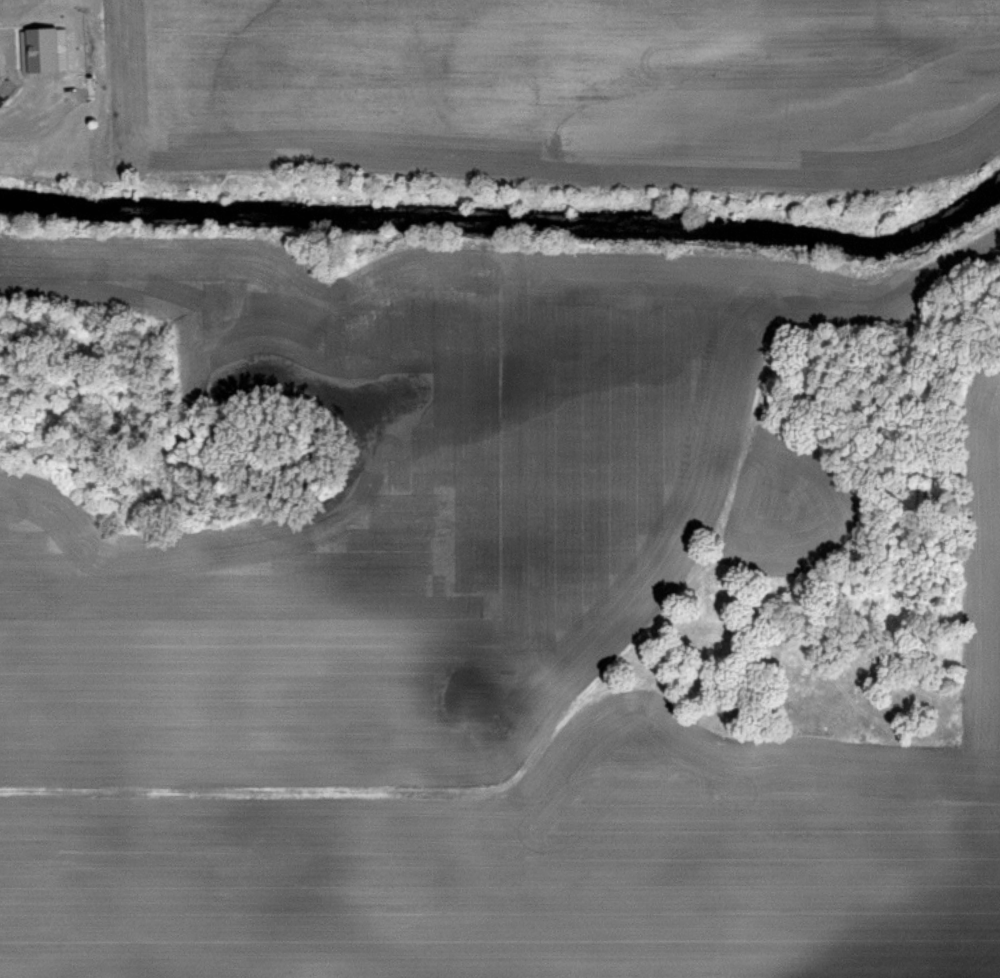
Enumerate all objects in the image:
building: (43, 50)
crop: (546, 93)
road: (18, 110)
river: (508, 223)
crop: (364, 488)
crop: (364, 488)
crop: (556, 843)

